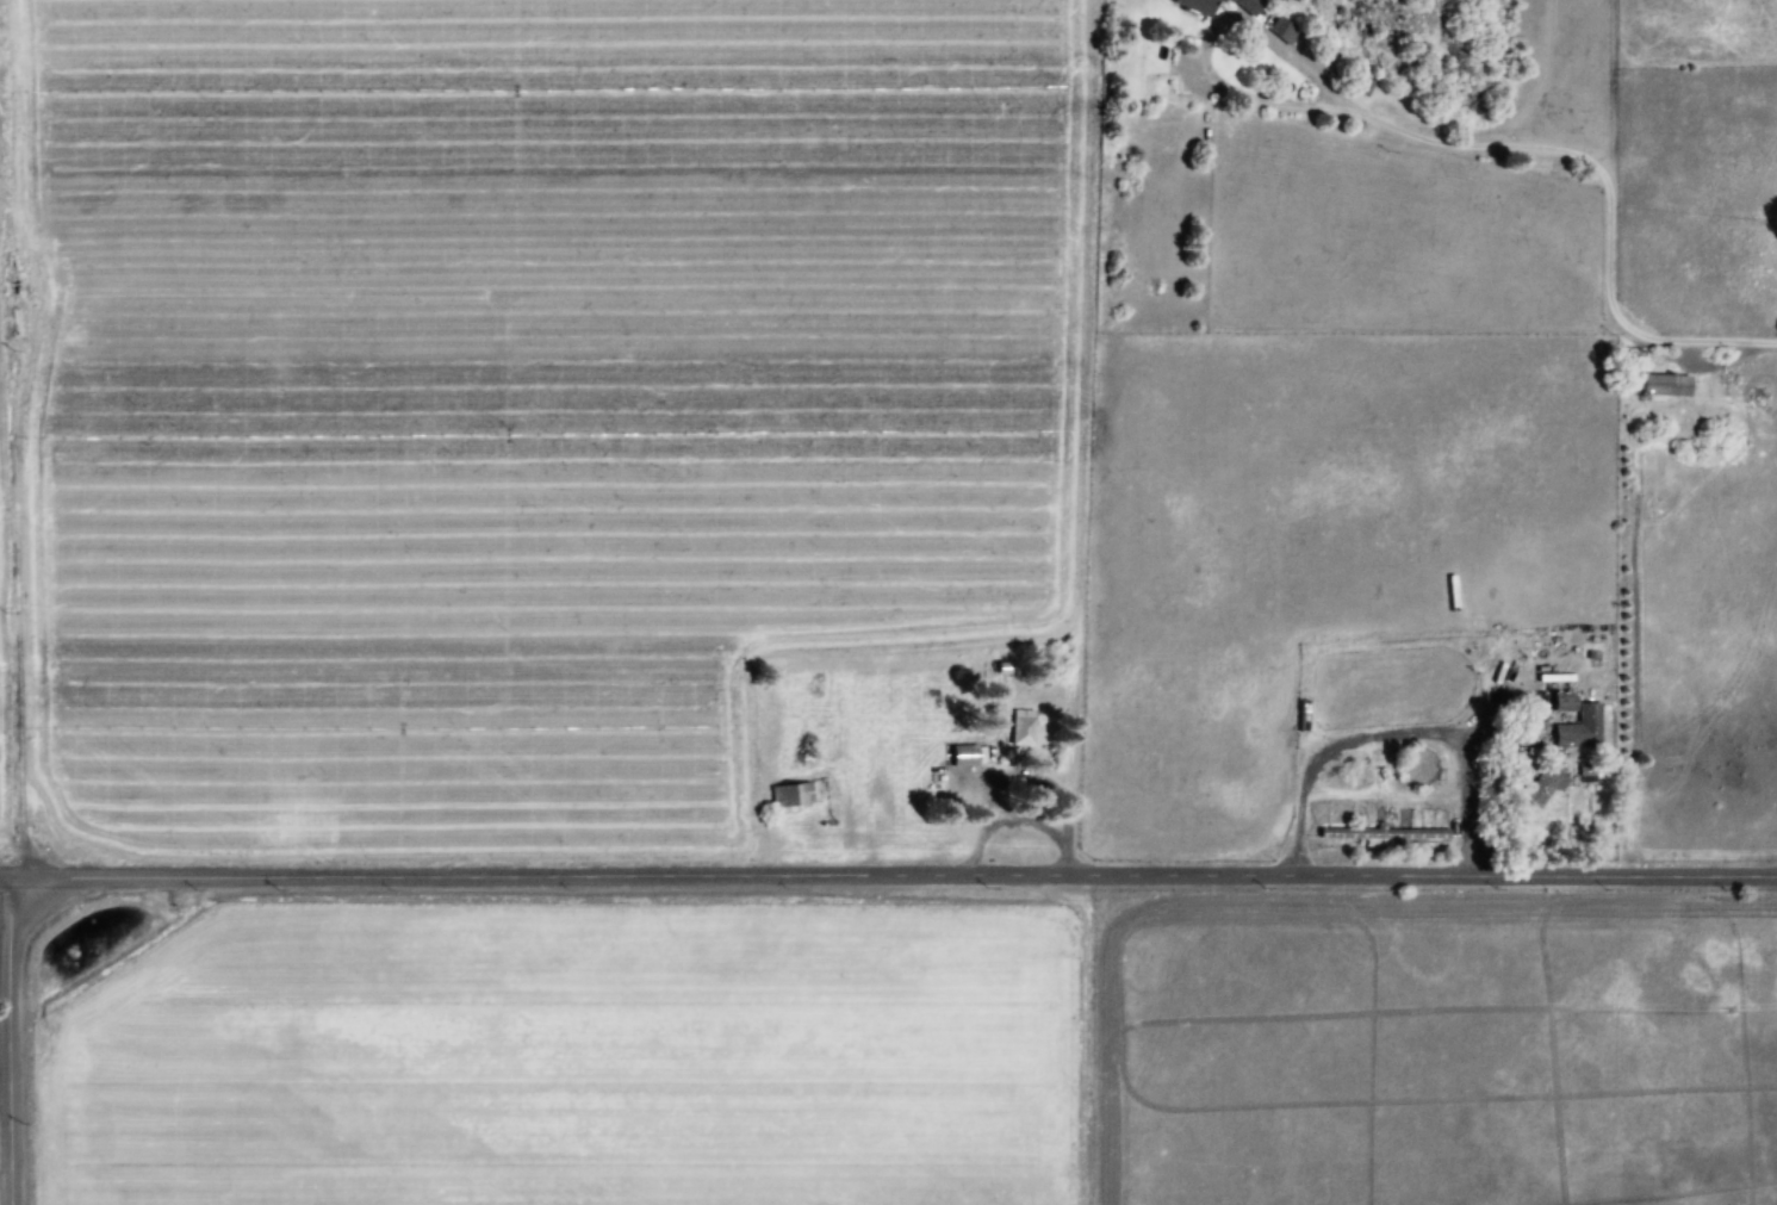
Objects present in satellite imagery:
building: (1192, 6)
building: (1248, 6)
building: (1285, 32)
building: (1368, 88)
building: (1661, 387)
building: (1561, 703)
building: (1021, 729)
building: (1579, 729)
building: (964, 758)
building: (1543, 787)
building: (789, 796)
building: (1392, 838)
road: (896, 886)
road: (8, 889)
road: (14, 1046)

